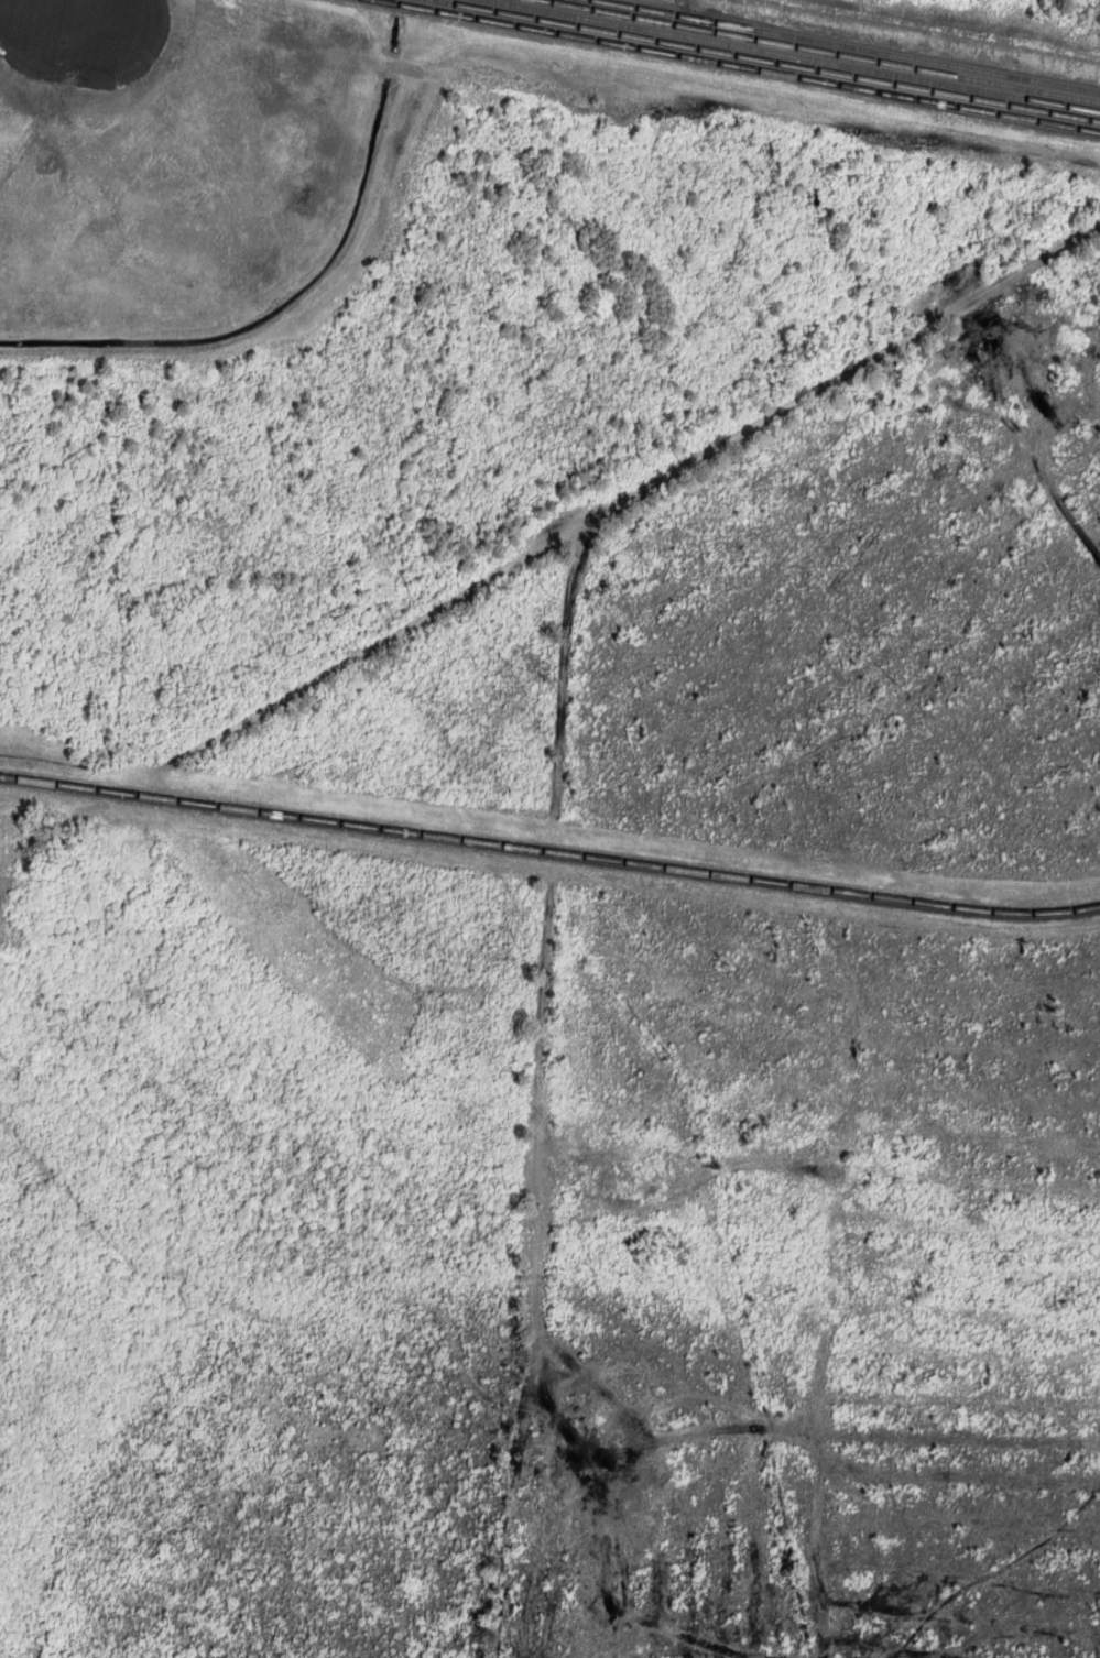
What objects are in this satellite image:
road: (437, 47)

